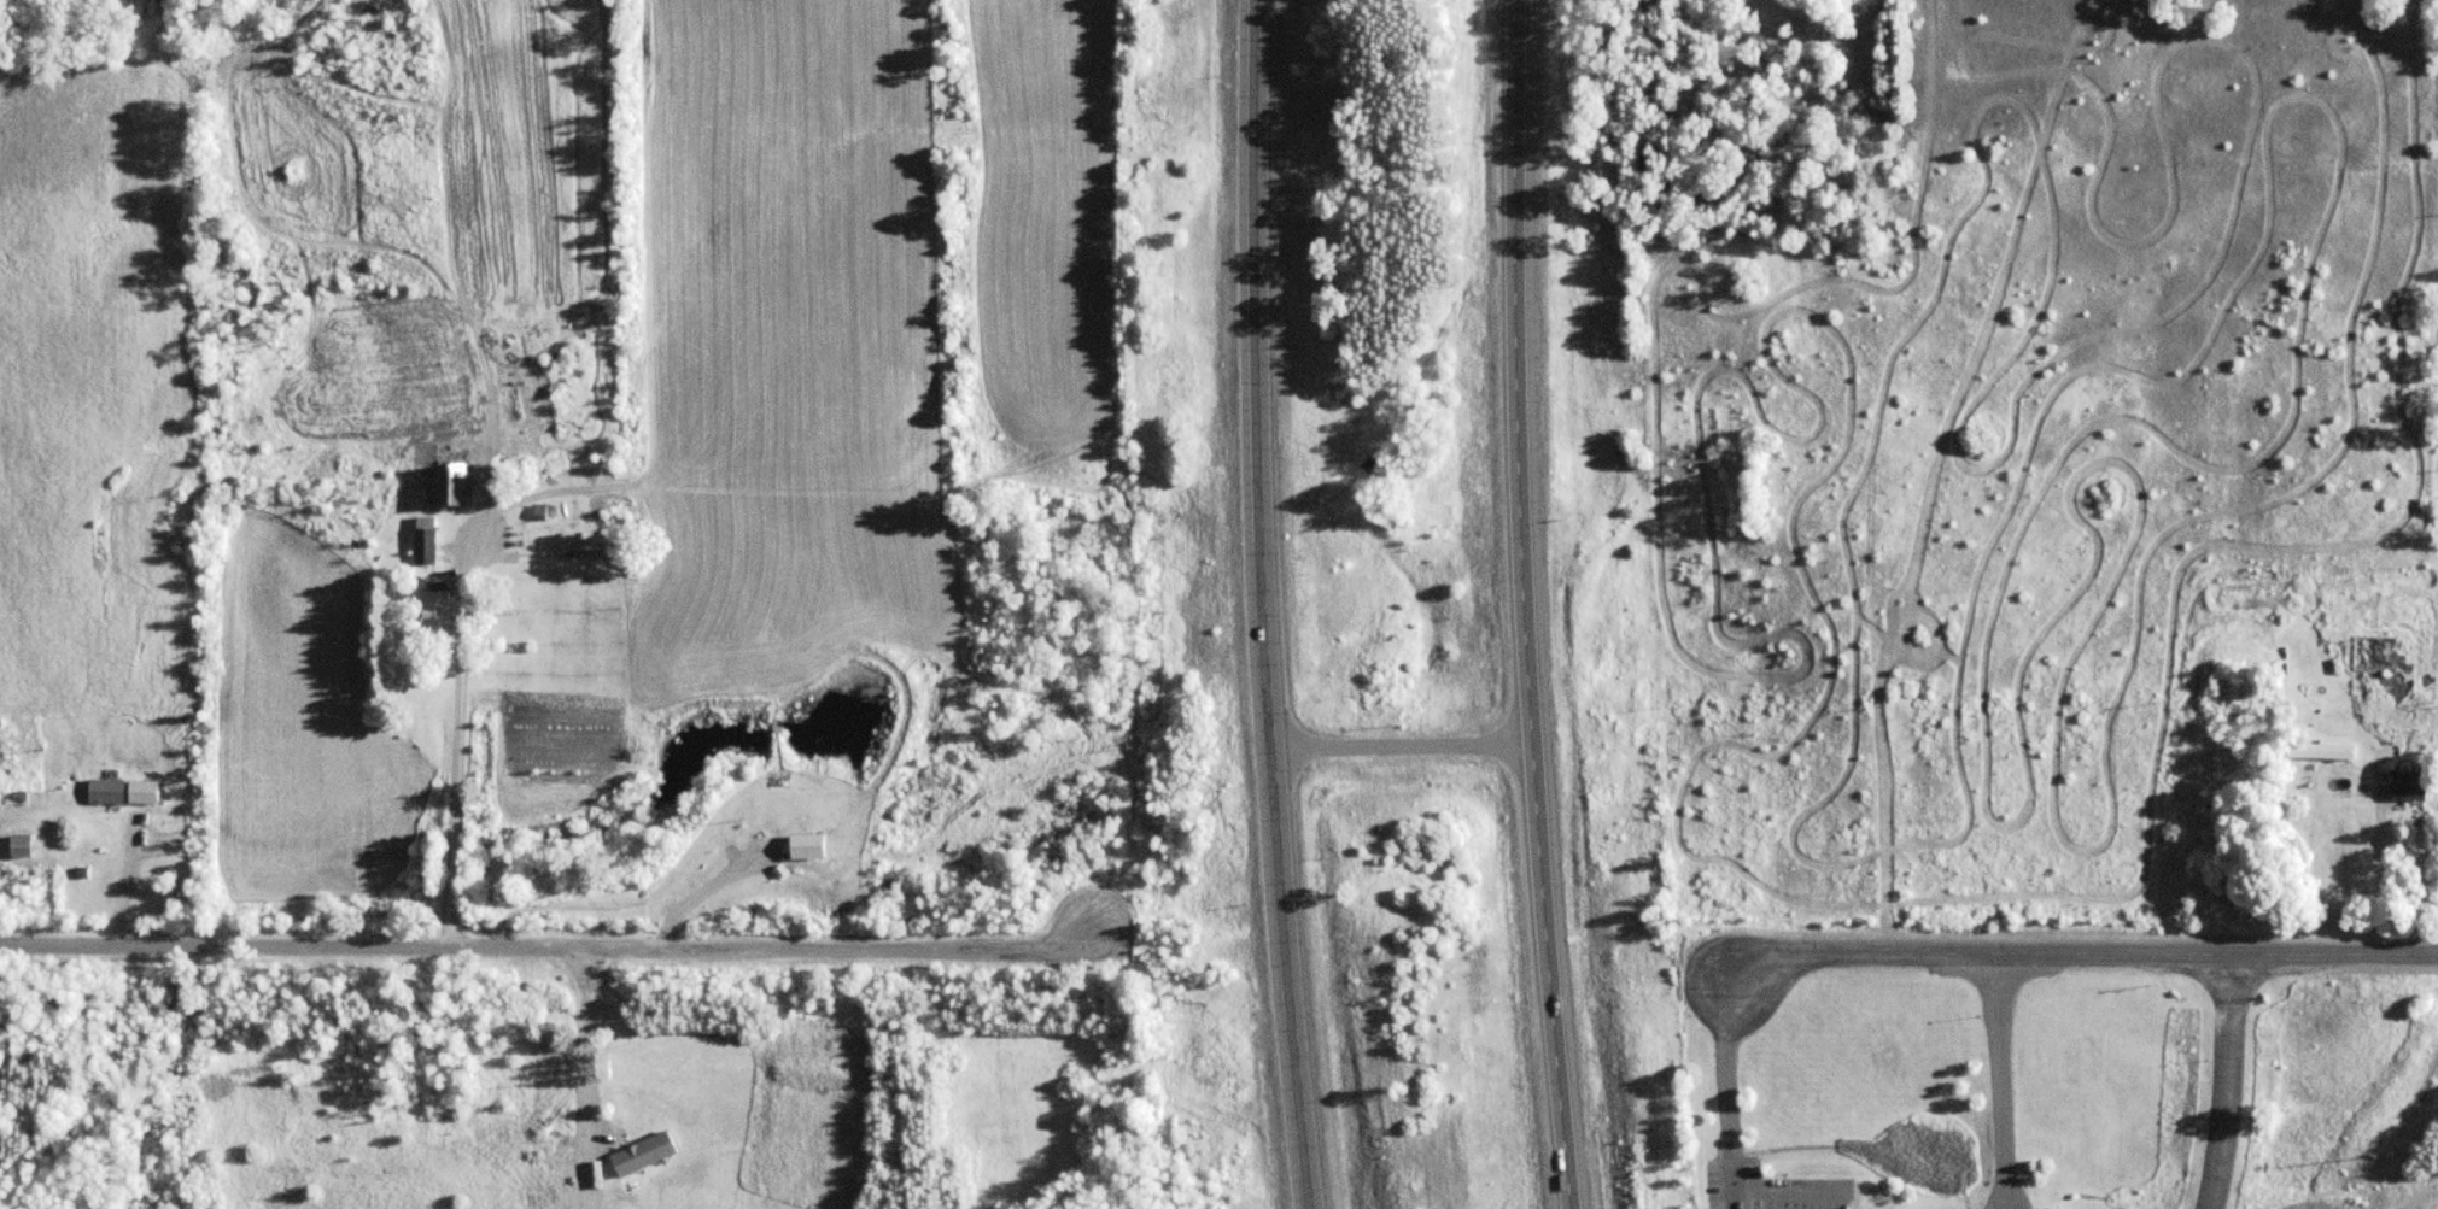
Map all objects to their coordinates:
crop: (1045, 211)
crop: (787, 246)
building: (443, 487)
building: (421, 540)
building: (580, 546)
road: (1273, 605)
road: (1521, 605)
building: (429, 614)
building: (2364, 656)
road: (1403, 747)
building: (2315, 751)
building: (2403, 786)
building: (99, 791)
building: (135, 792)
road: (548, 945)
road: (2081, 956)
road: (1999, 1081)
road: (2224, 1084)

